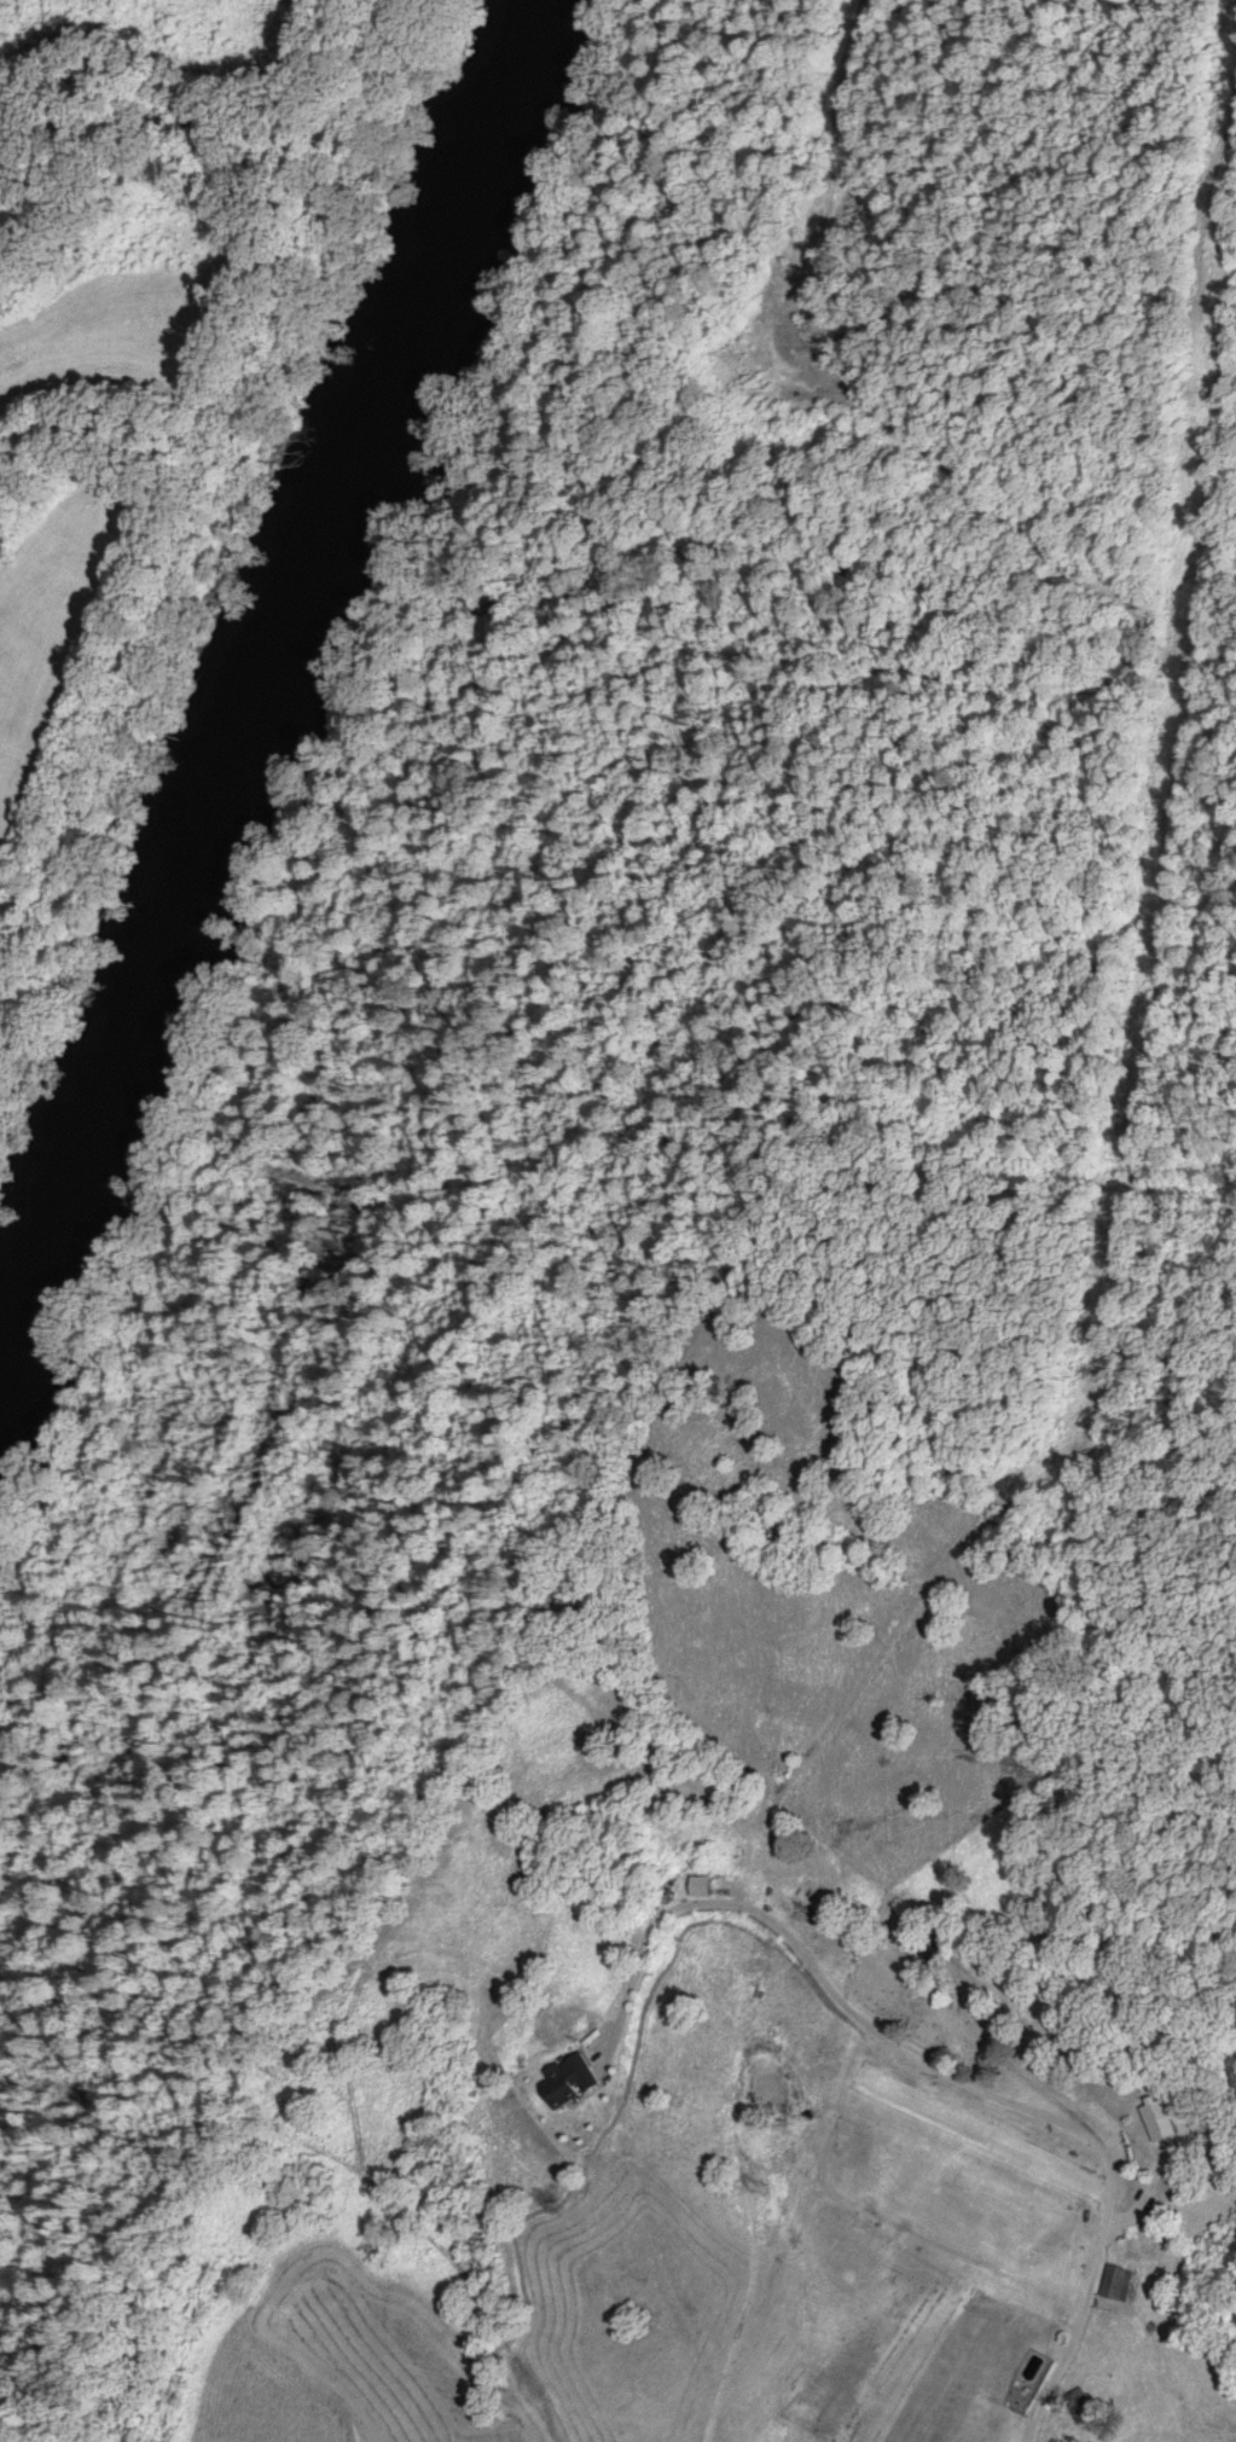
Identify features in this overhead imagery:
river: (278, 672)
building: (704, 1881)
building: (571, 2081)
building: (1160, 2119)
road: (1093, 2382)

